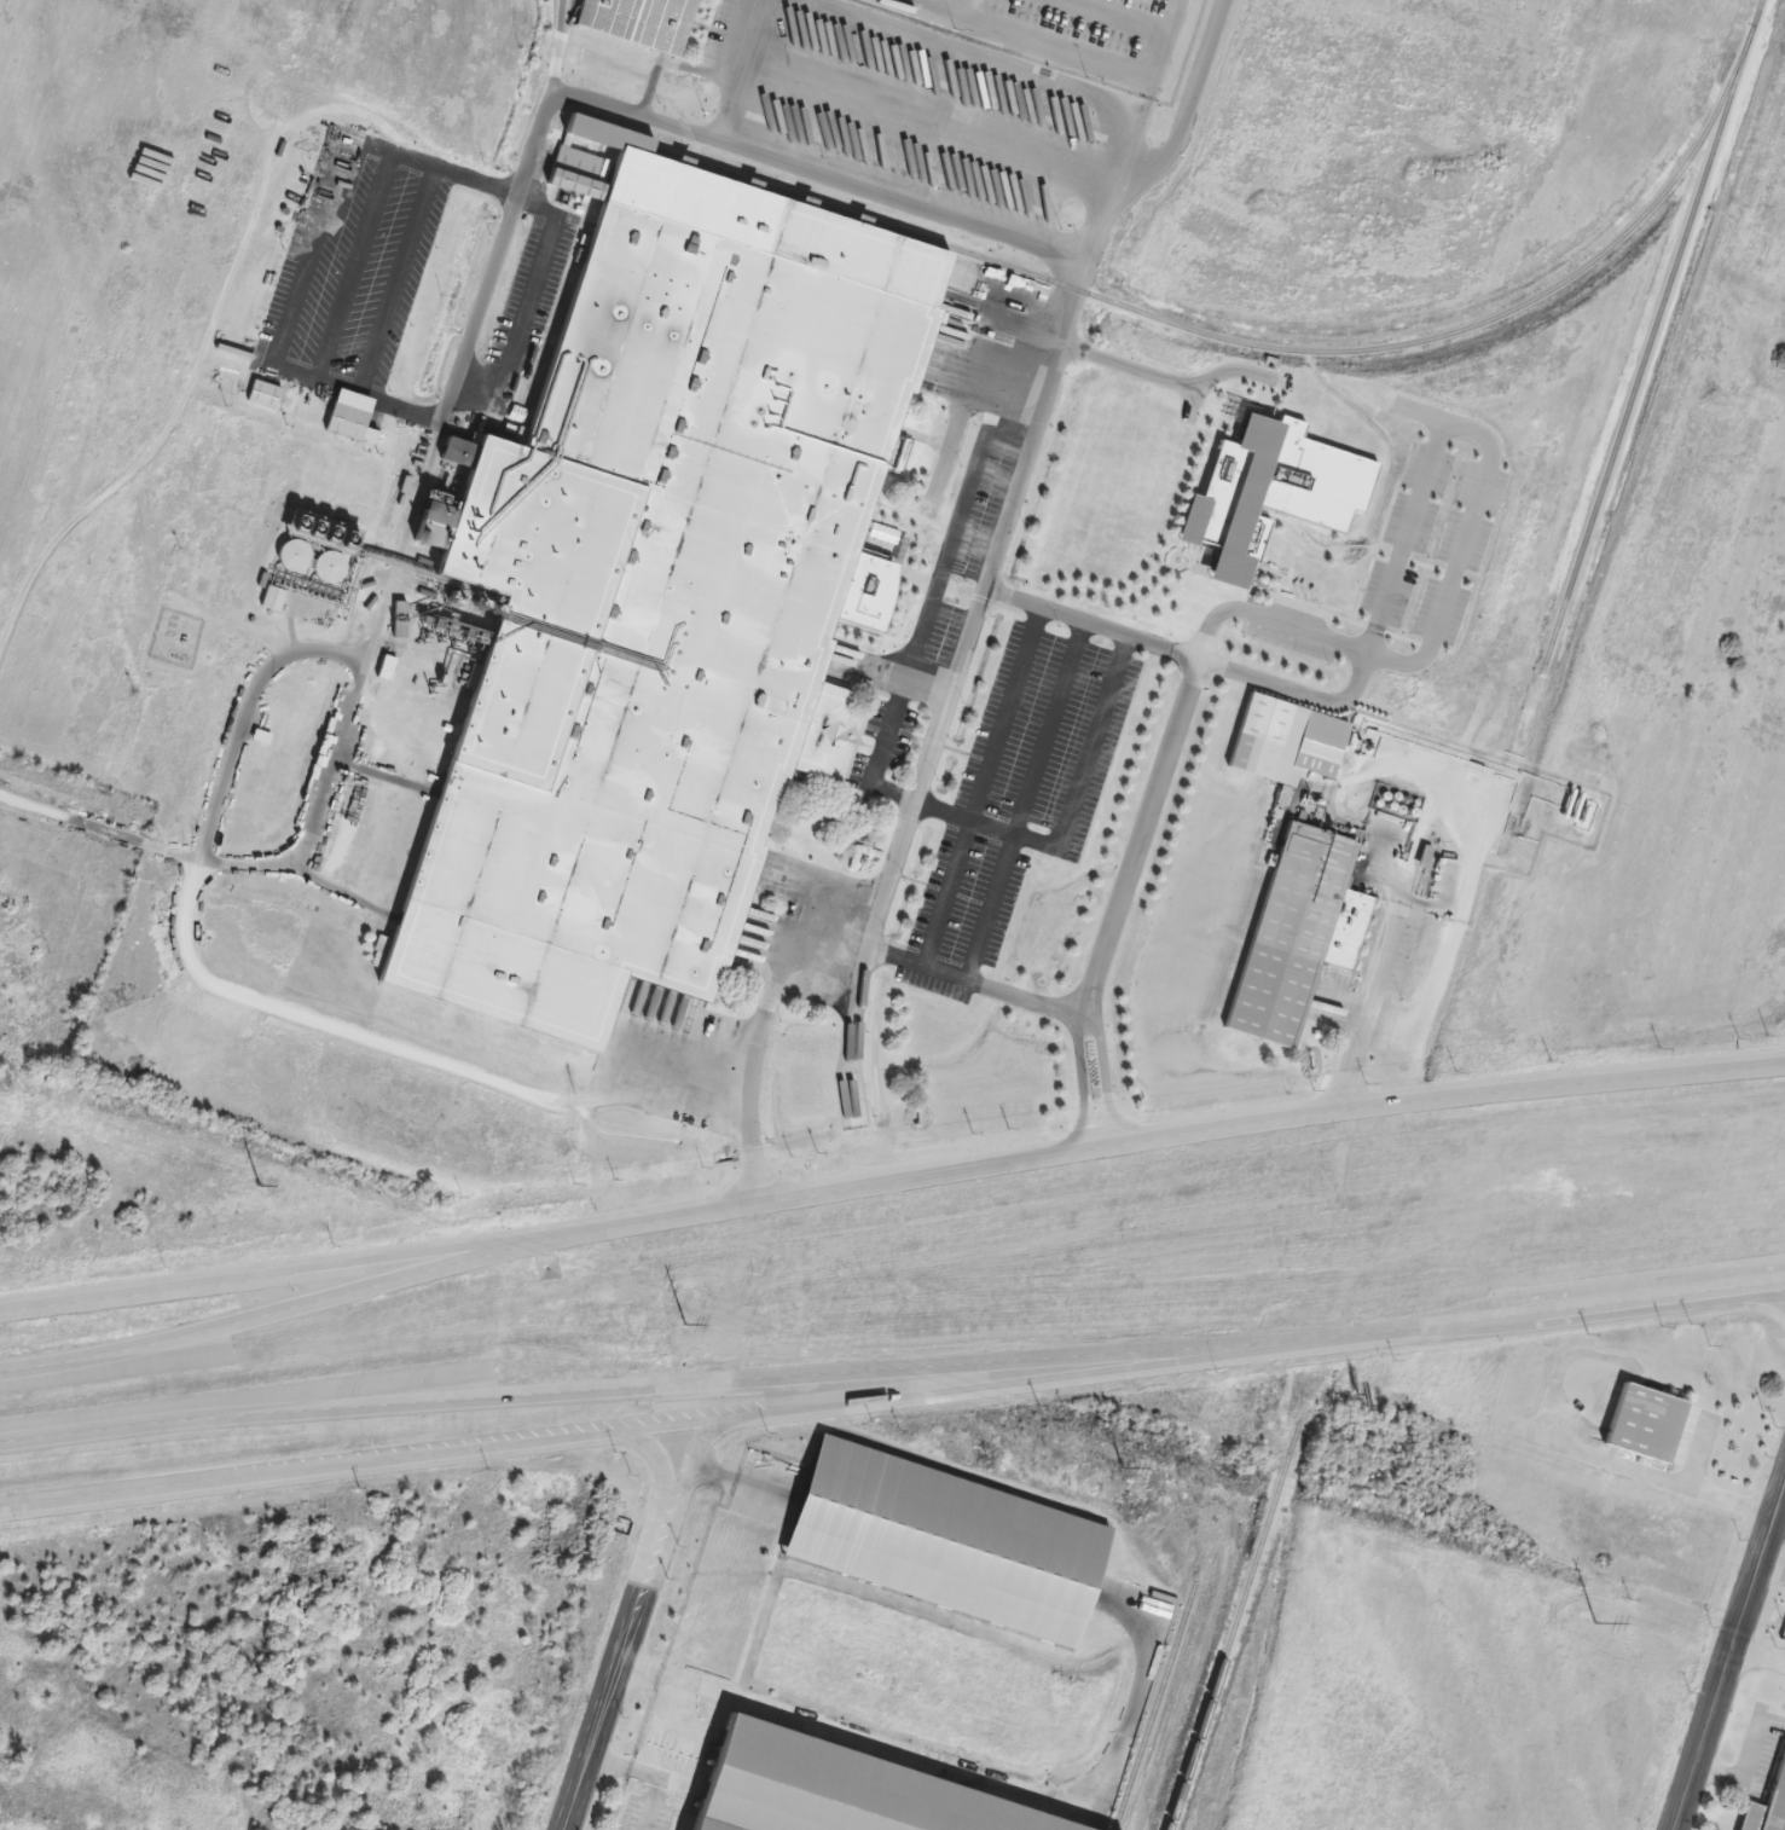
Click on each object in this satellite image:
building: (639, 22)
road: (1028, 37)
road: (1164, 47)
road: (1188, 102)
road: (650, 121)
road: (896, 208)
road: (527, 305)
railway: (1264, 342)
road: (282, 361)
road: (1146, 375)
building: (263, 394)
building: (348, 423)
railway: (1590, 534)
building: (647, 593)
road: (929, 607)
road: (1443, 607)
building: (428, 658)
road: (927, 689)
building: (1253, 755)
building: (1316, 757)
road: (979, 791)
road: (1065, 812)
road: (106, 828)
road: (996, 913)
road: (875, 922)
building: (1297, 931)
road: (975, 990)
road: (280, 1014)
road: (1082, 1031)
road: (1106, 1090)
road: (1082, 1094)
road: (1148, 1137)
power tower: (262, 1186)
road: (257, 1276)
road: (1583, 1305)
road: (260, 1316)
power tower: (691, 1322)
road: (738, 1379)
road: (691, 1419)
building: (1641, 1421)
road: (47, 1434)
power tower: (1125, 1467)
road: (726, 1476)
road: (1697, 1487)
building: (943, 1541)
road: (1774, 1566)
road: (628, 1623)
power tower: (1599, 1623)
road: (1760, 1655)
road: (1729, 1663)
railway: (1219, 1680)
road: (661, 1683)
railway: (1159, 1706)
road: (1746, 1771)
road: (980, 1774)
road: (644, 1777)
building: (786, 1788)
building: (1767, 1801)

